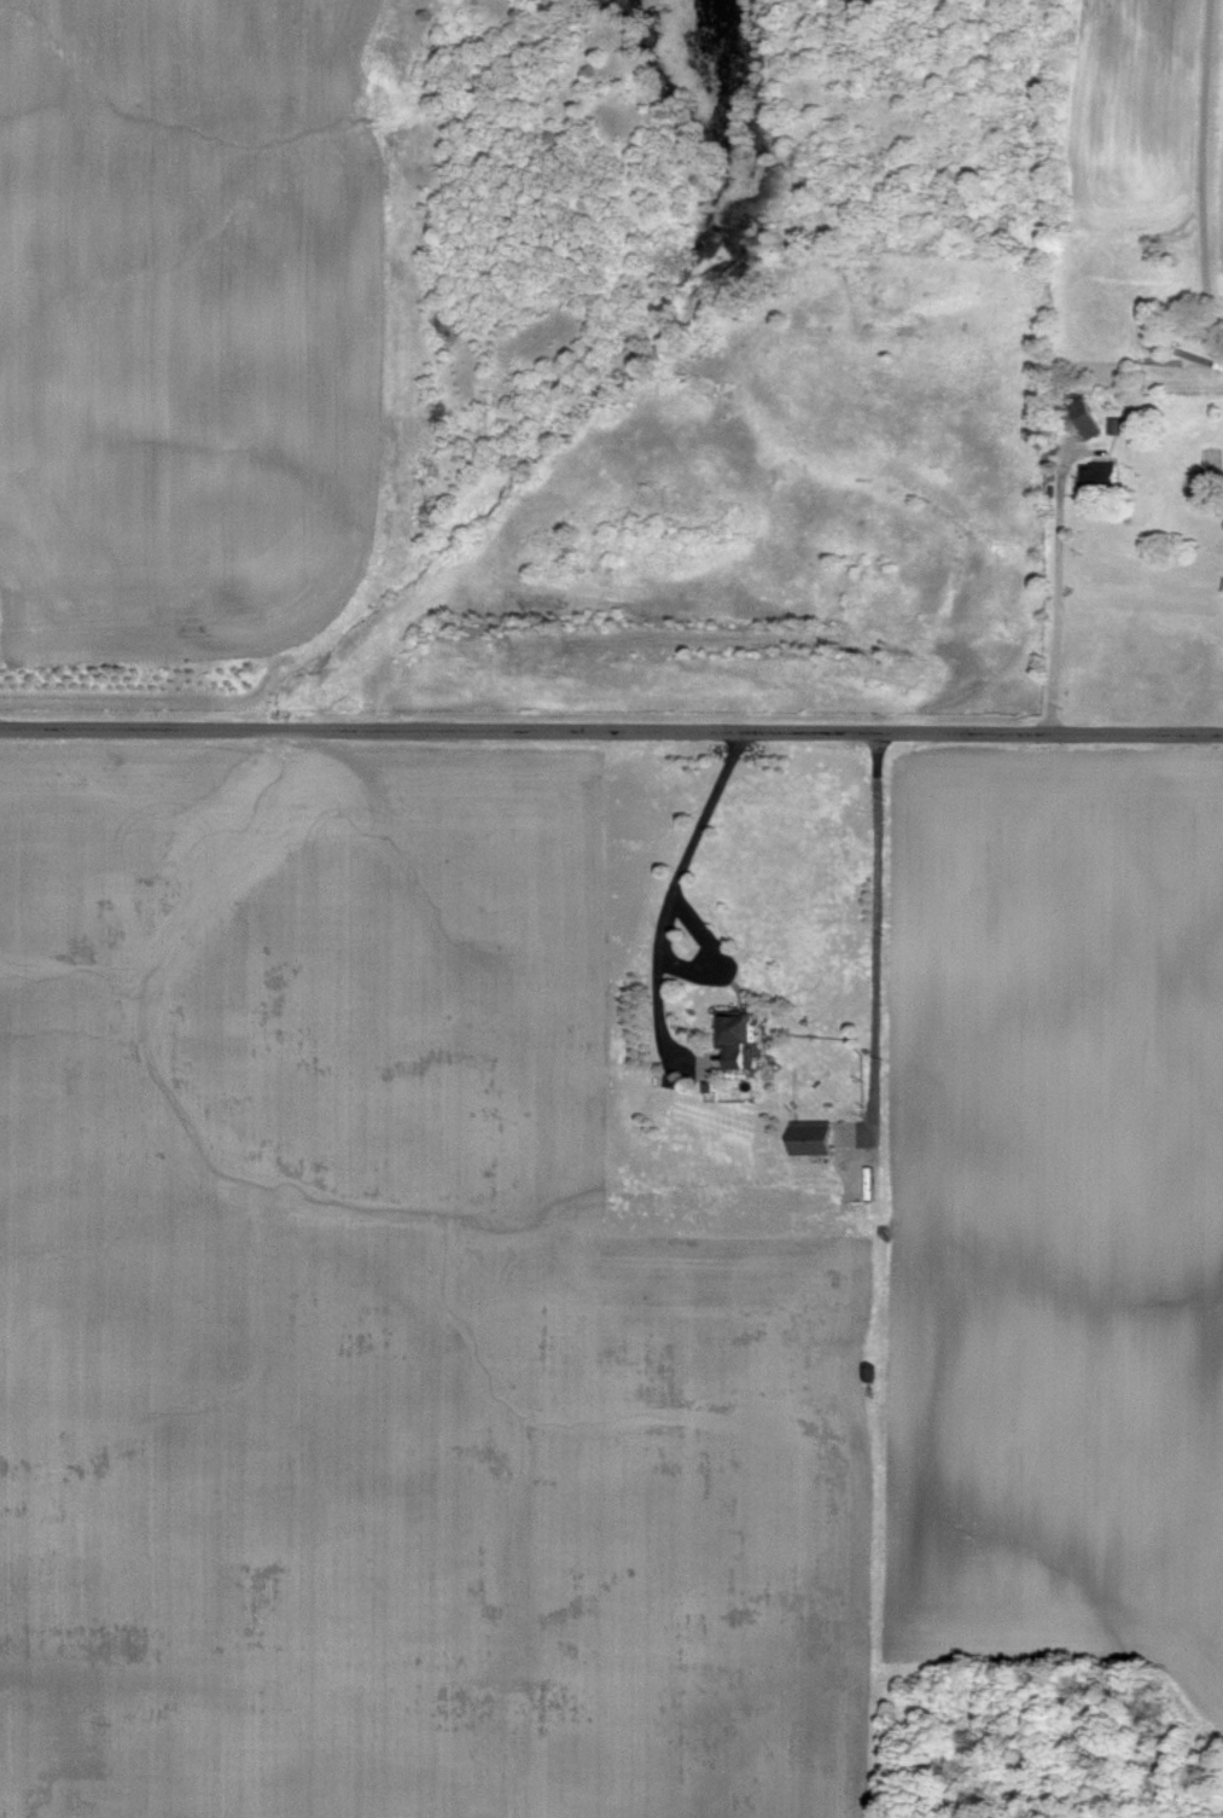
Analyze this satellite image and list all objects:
road: (1202, 157)
building: (1089, 428)
building: (1118, 428)
building: (1099, 476)
road: (1059, 597)
road: (611, 730)
road: (671, 891)
road: (877, 949)
building: (733, 1040)
building: (808, 1138)

